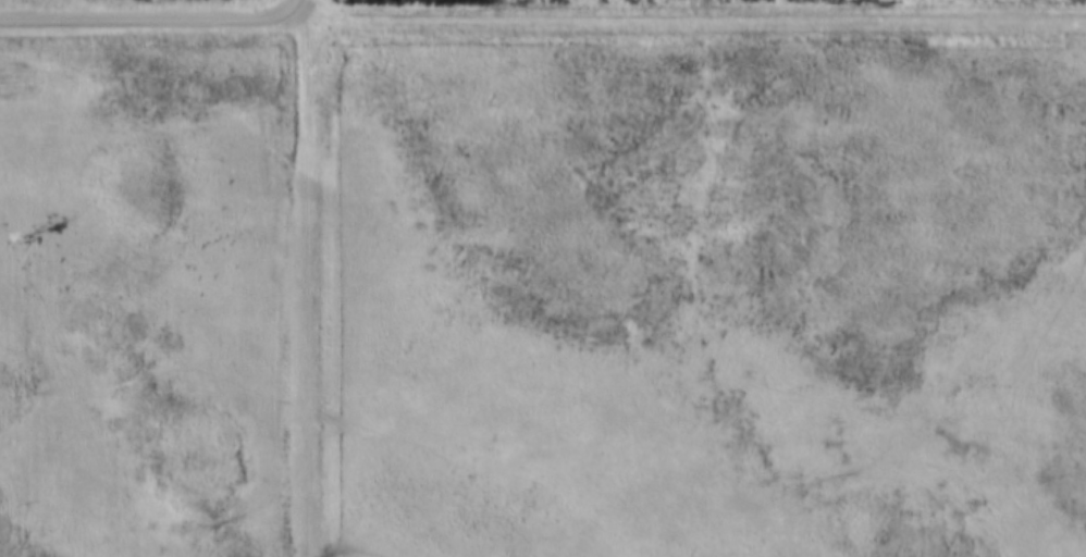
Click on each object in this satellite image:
road: (695, 13)
road: (152, 15)
road: (308, 278)

